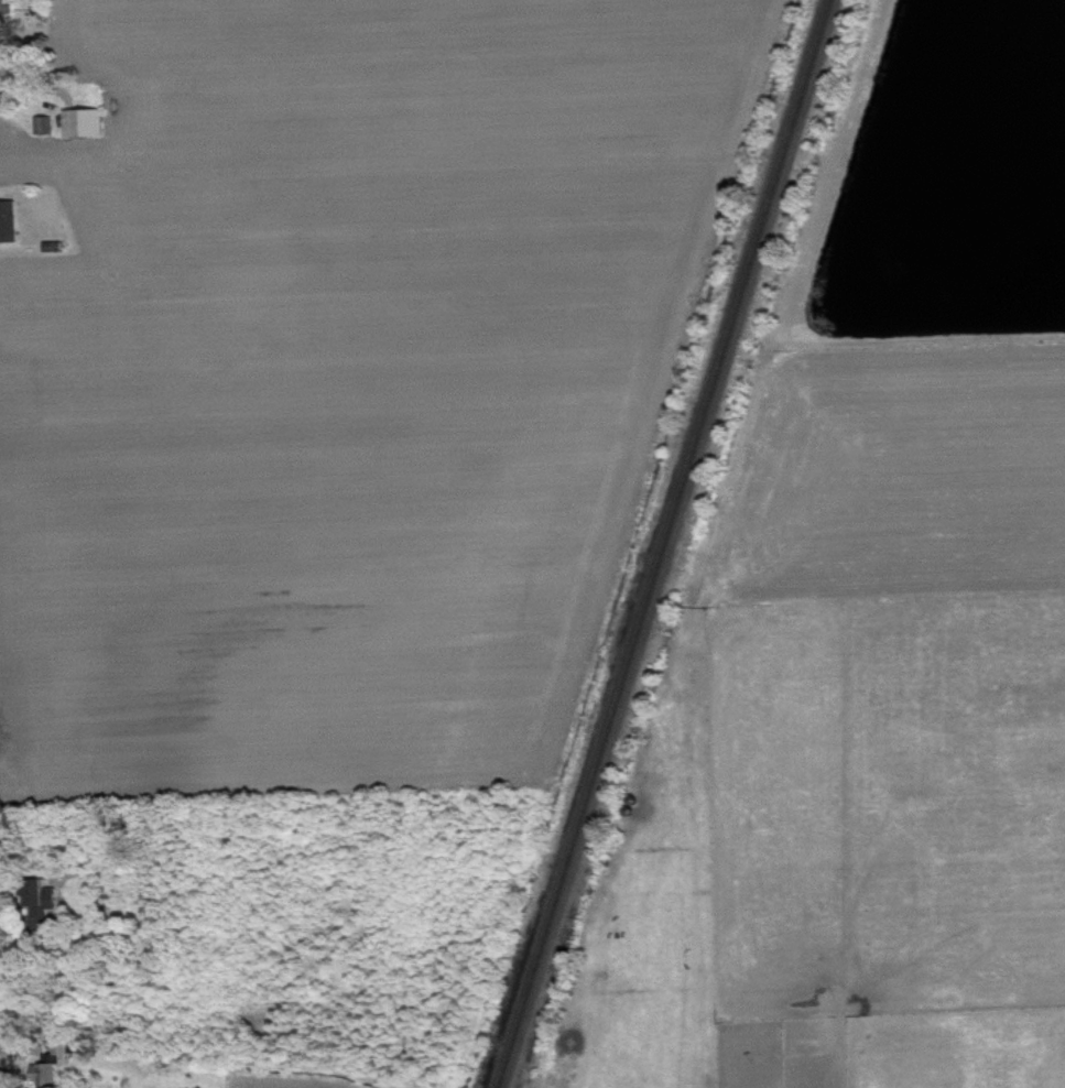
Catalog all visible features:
building: (8, 15)
building: (89, 127)
building: (48, 130)
building: (12, 225)
railway: (664, 544)
building: (45, 910)
building: (70, 1052)
building: (51, 1078)

